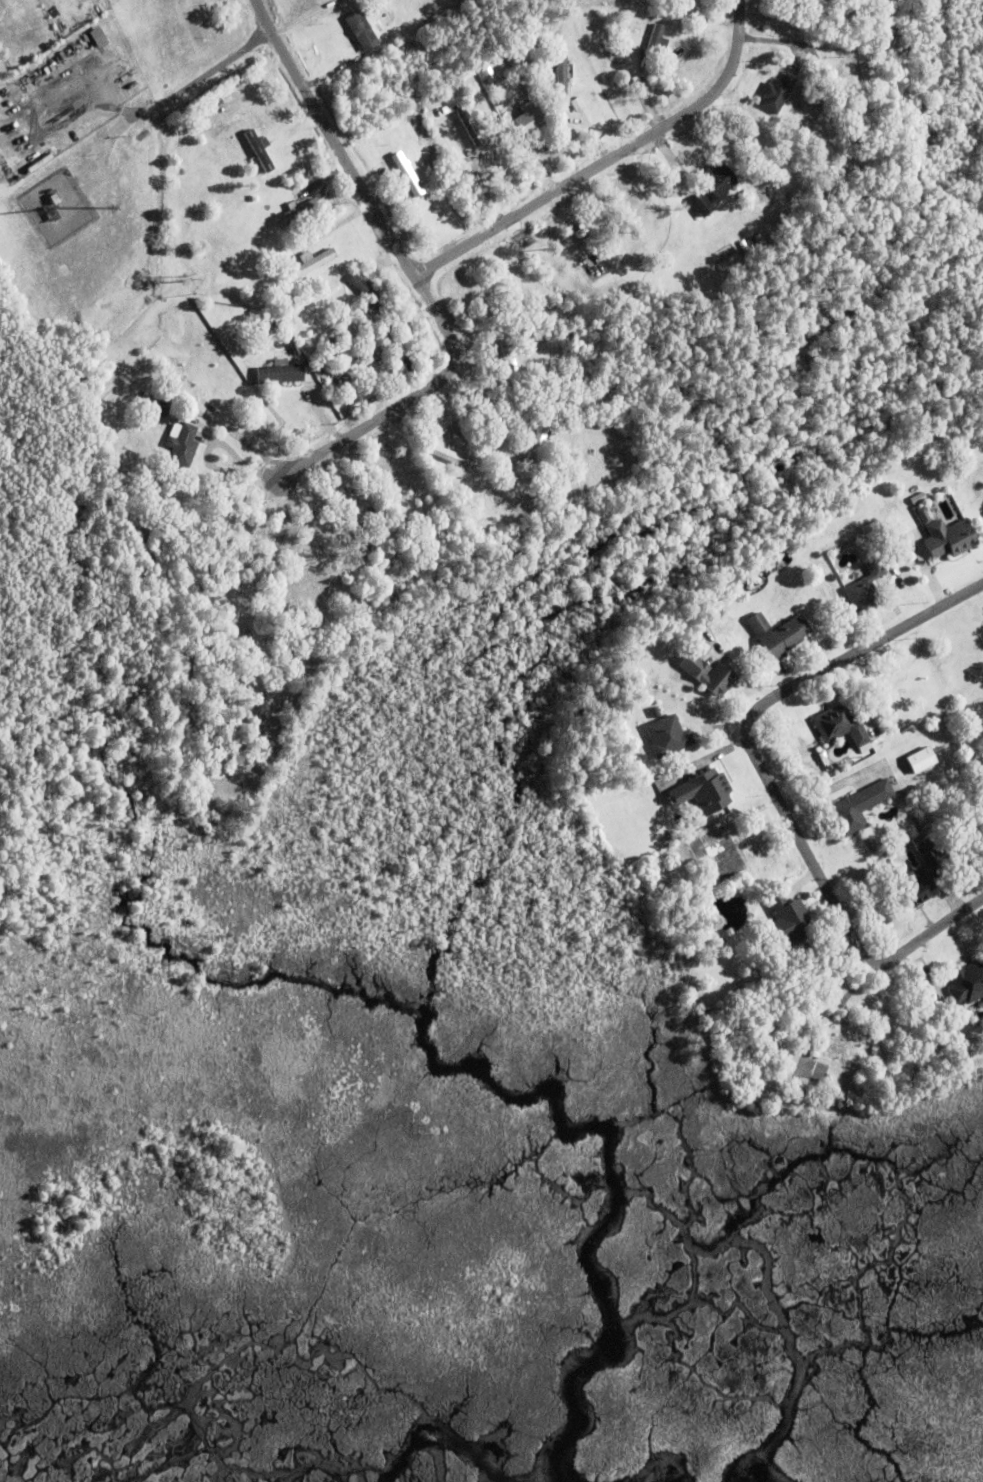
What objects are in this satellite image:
building: (328, 1)
building: (808, 7)
building: (673, 15)
building: (832, 18)
building: (360, 29)
building: (98, 36)
building: (652, 45)
road: (789, 49)
building: (614, 52)
building: (563, 69)
building: (663, 75)
building: (638, 83)
road: (180, 91)
building: (776, 92)
building: (820, 102)
building: (577, 104)
building: (523, 114)
building: (470, 128)
road: (741, 133)
building: (858, 133)
building: (258, 150)
building: (840, 155)
building: (822, 159)
road: (608, 160)
building: (405, 173)
building: (713, 188)
building: (53, 197)
building: (755, 207)
building: (298, 211)
building: (52, 212)
building: (760, 212)
building: (745, 246)
building: (311, 261)
road: (417, 279)
building: (490, 284)
building: (367, 292)
building: (332, 344)
building: (294, 348)
building: (399, 351)
building: (511, 357)
building: (279, 372)
building: (380, 372)
building: (157, 405)
building: (195, 408)
building: (538, 439)
building: (182, 446)
building: (454, 457)
building: (925, 514)
building: (357, 523)
building: (869, 528)
building: (948, 538)
building: (316, 560)
building: (865, 590)
building: (758, 624)
building: (818, 632)
building: (784, 638)
building: (722, 676)
building: (736, 692)
building: (839, 726)
building: (874, 732)
building: (668, 737)
building: (794, 742)
building: (809, 751)
building: (923, 758)
road: (769, 780)
building: (705, 791)
building: (859, 808)
building: (881, 836)
building: (928, 839)
building: (919, 881)
building: (788, 920)
building: (981, 932)
building: (780, 963)
building: (967, 984)
building: (969, 1052)

